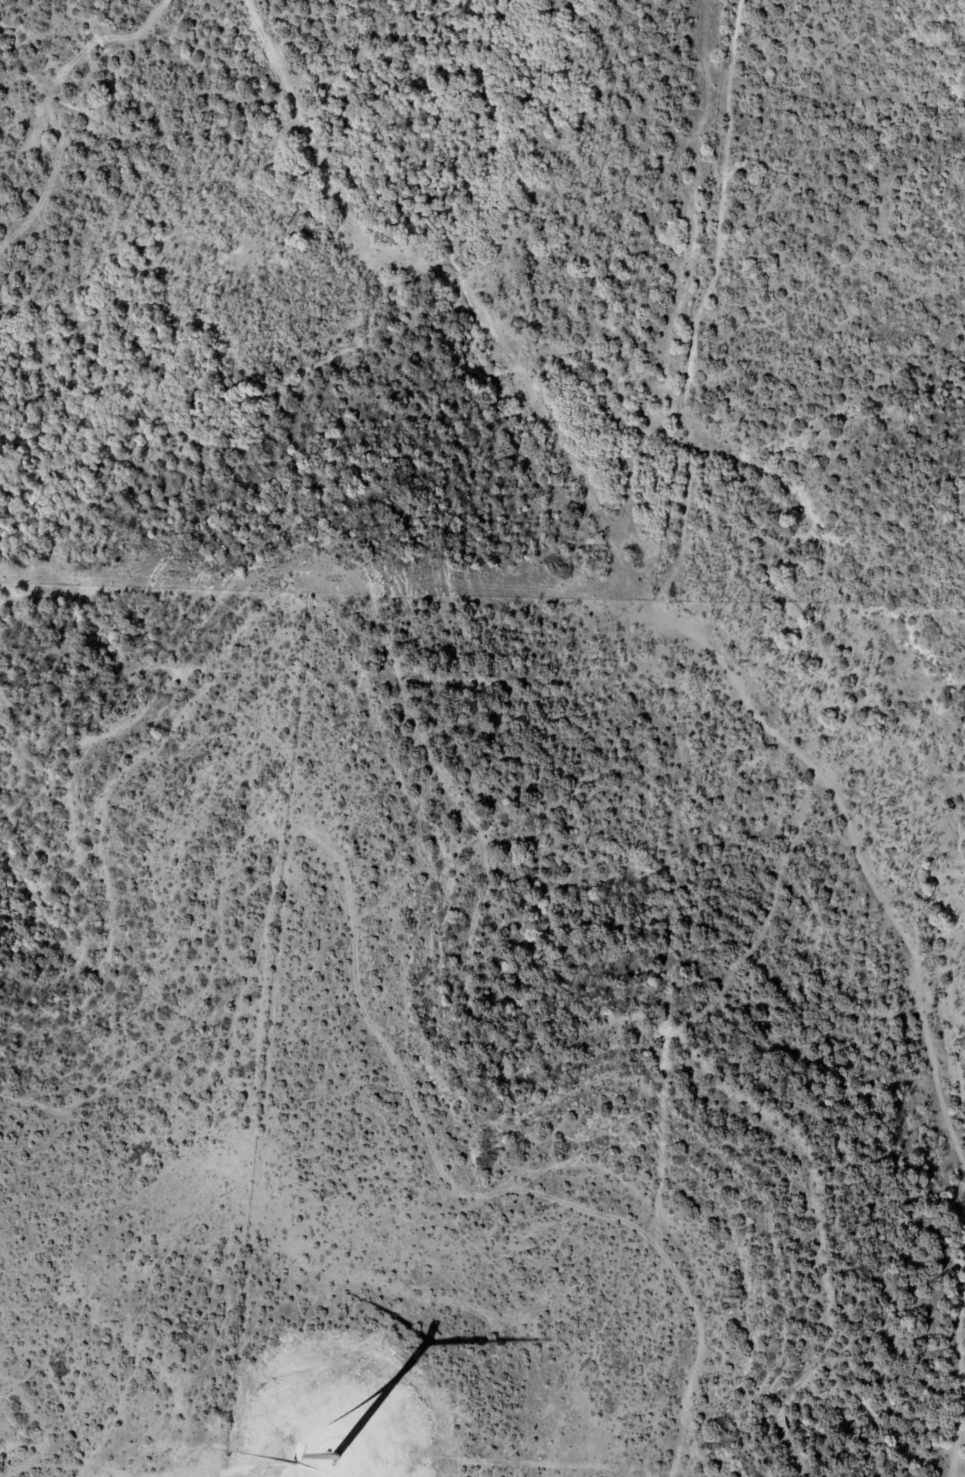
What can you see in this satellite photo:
road: (449, 298)
road: (689, 554)
wind turbine: (348, 1442)
road: (962, 1467)

